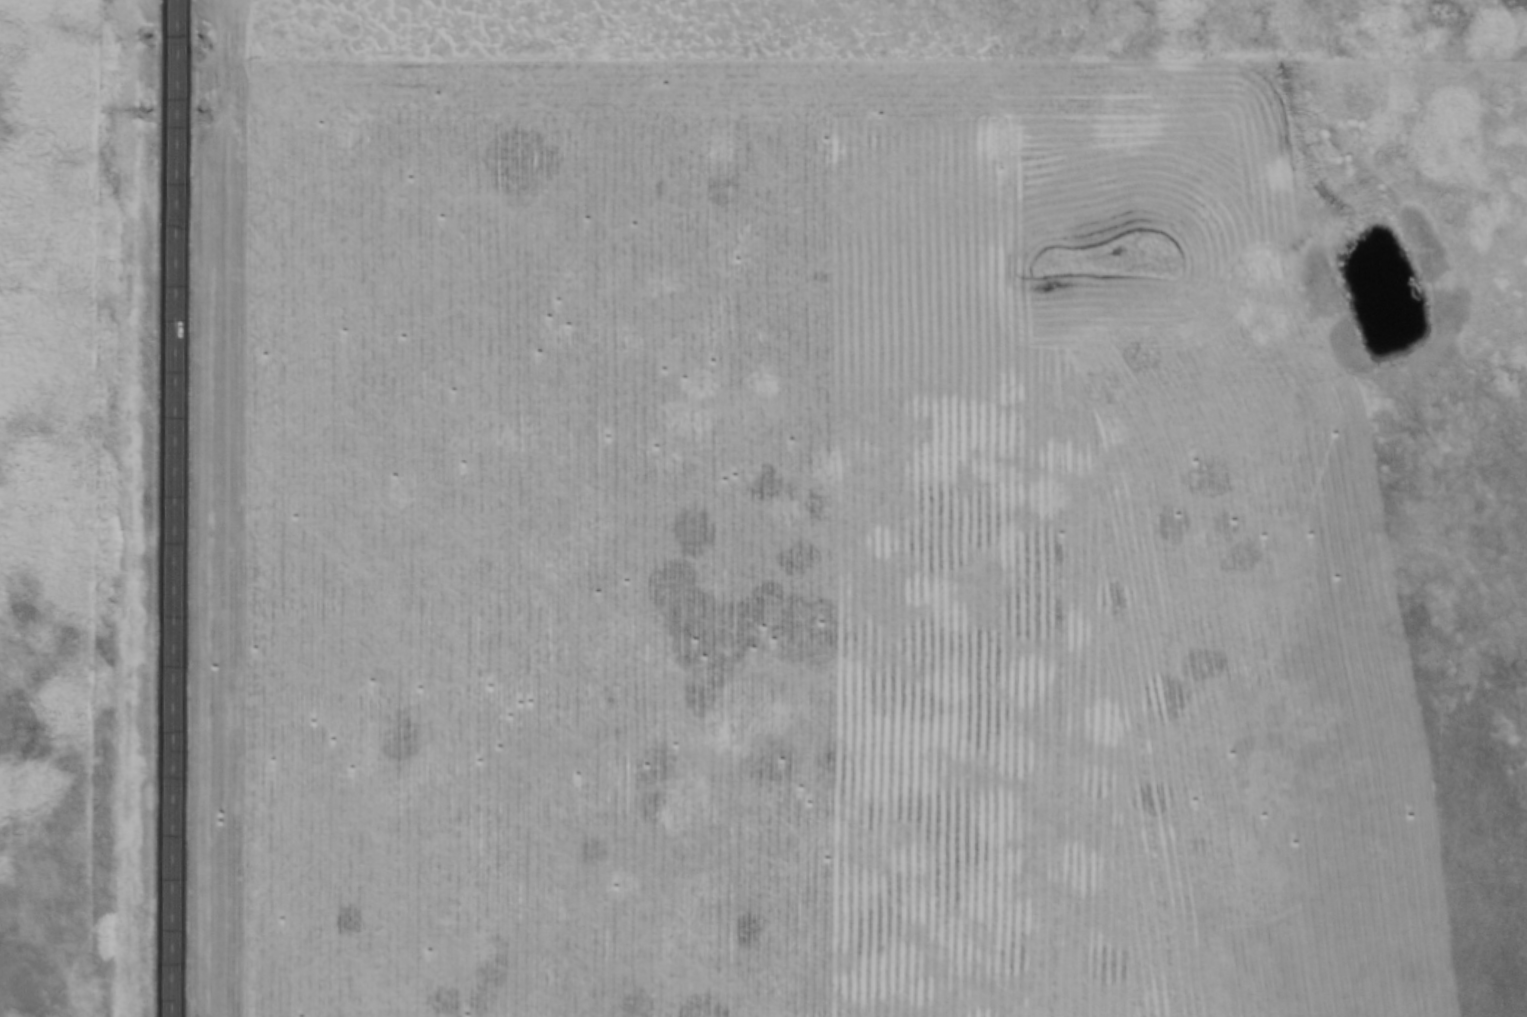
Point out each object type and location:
road: (178, 508)

